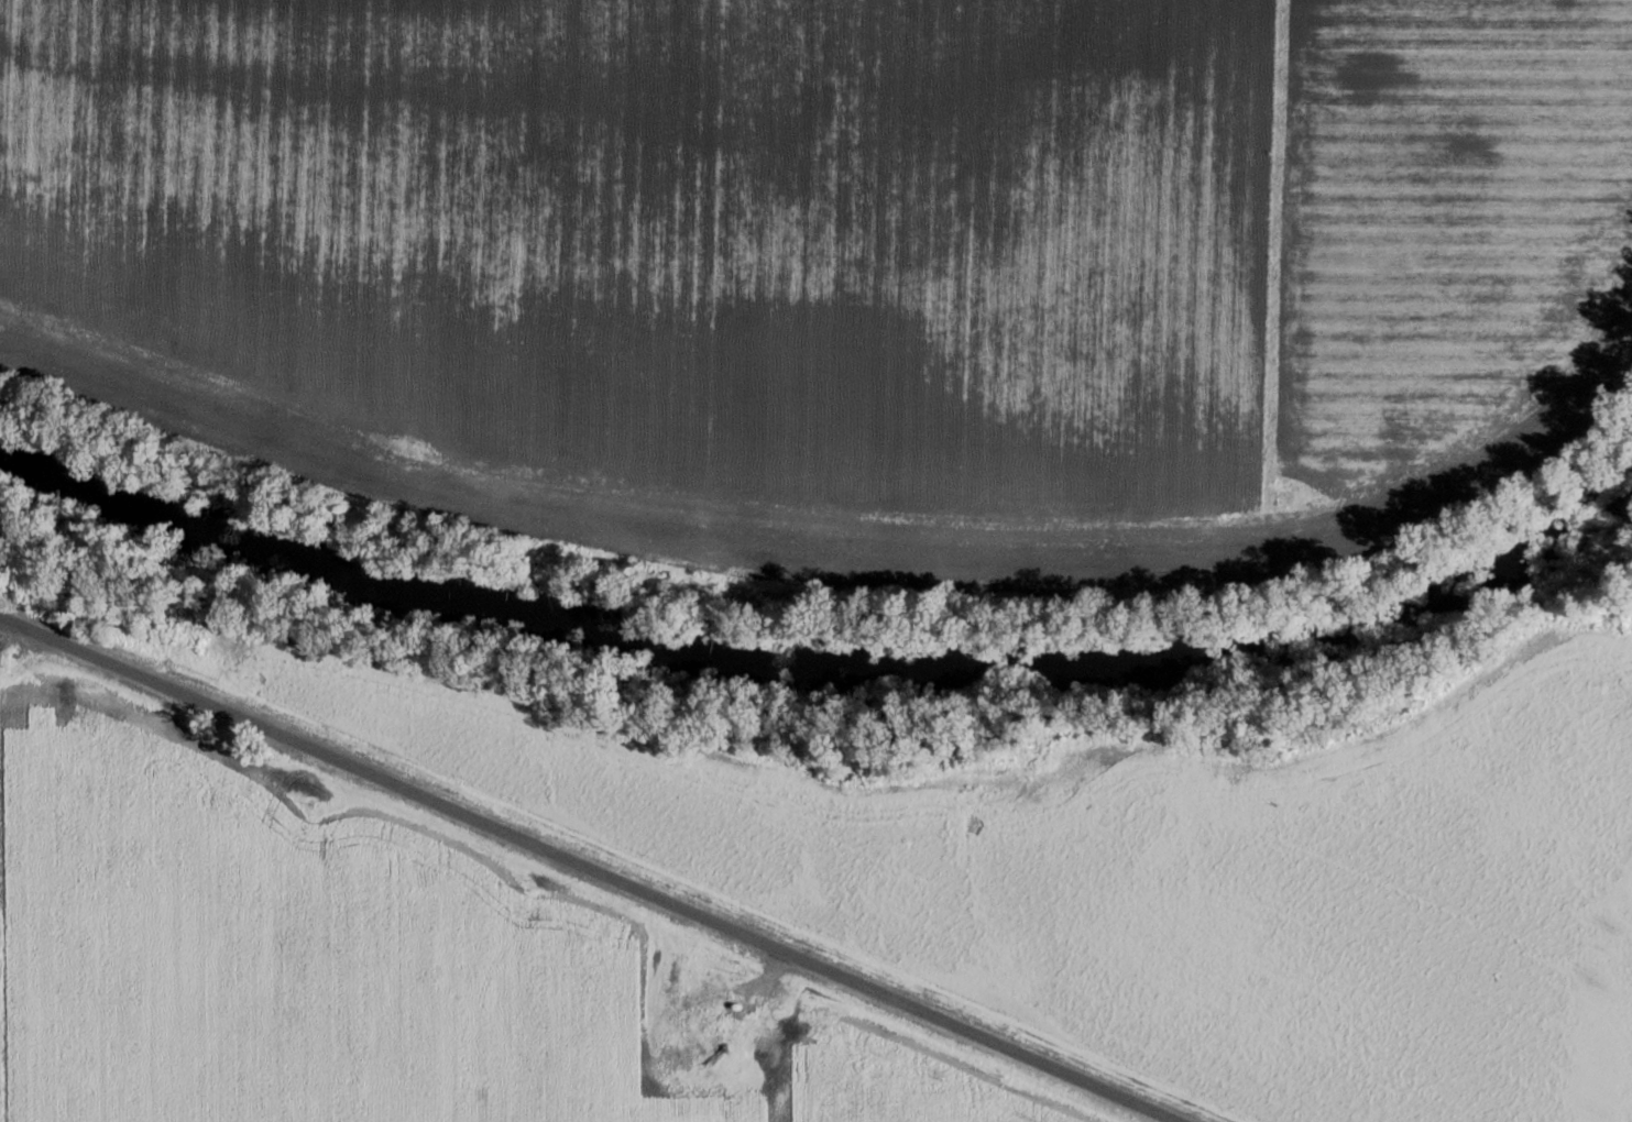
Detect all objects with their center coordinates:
river: (824, 649)
road: (604, 868)
building: (713, 993)

